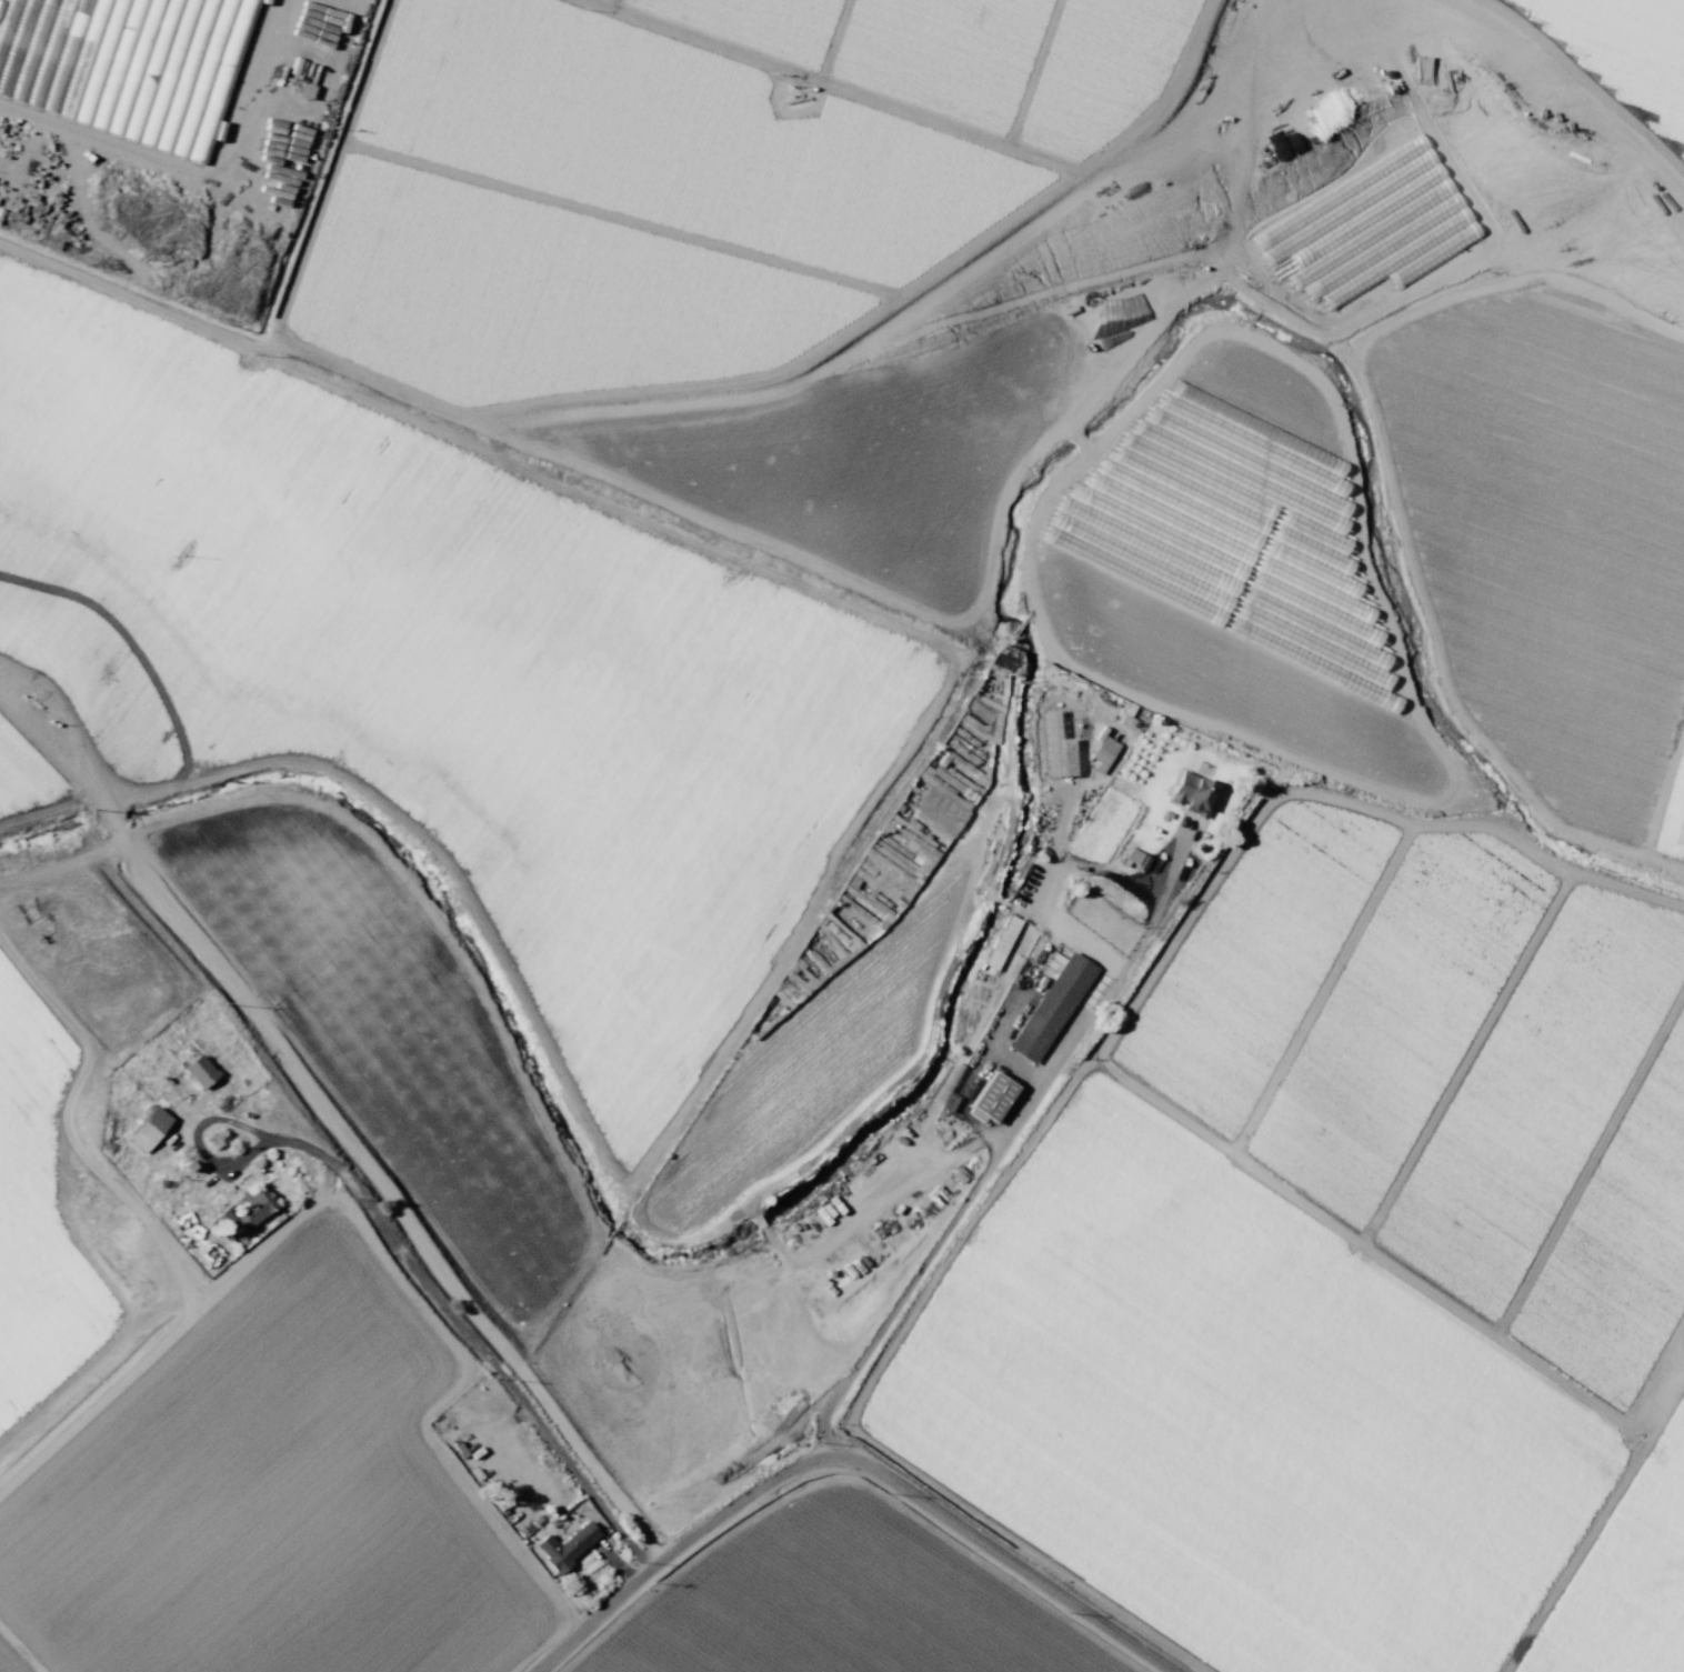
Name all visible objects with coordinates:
road: (259, 28)
crop: (1621, 58)
building: (126, 64)
road: (158, 76)
road: (1030, 76)
road: (1584, 82)
road: (825, 88)
road: (327, 99)
road: (1191, 113)
road: (146, 152)
road: (329, 166)
road: (782, 193)
road: (541, 206)
road: (1514, 280)
road: (804, 359)
road: (1527, 459)
road: (1445, 675)
road: (1636, 719)
building: (1052, 748)
road: (50, 750)
building: (1103, 754)
building: (1192, 794)
road: (50, 813)
road: (1495, 844)
building: (1135, 859)
road: (64, 865)
crop: (390, 919)
building: (1009, 942)
road: (1024, 980)
road: (1333, 993)
road: (199, 994)
building: (1051, 1008)
road: (1470, 1061)
building: (199, 1071)
road: (1061, 1093)
building: (991, 1097)
building: (148, 1129)
road: (1004, 1147)
road: (1588, 1179)
road: (378, 1181)
building: (254, 1207)
road: (1366, 1254)
road: (414, 1266)
road: (163, 1341)
road: (1655, 1384)
road: (448, 1388)
road: (851, 1458)
road: (1222, 1473)
road: (1593, 1529)
building: (565, 1546)
road: (1036, 1551)
road: (345, 1574)
road: (1598, 1639)
road: (540, 1649)

